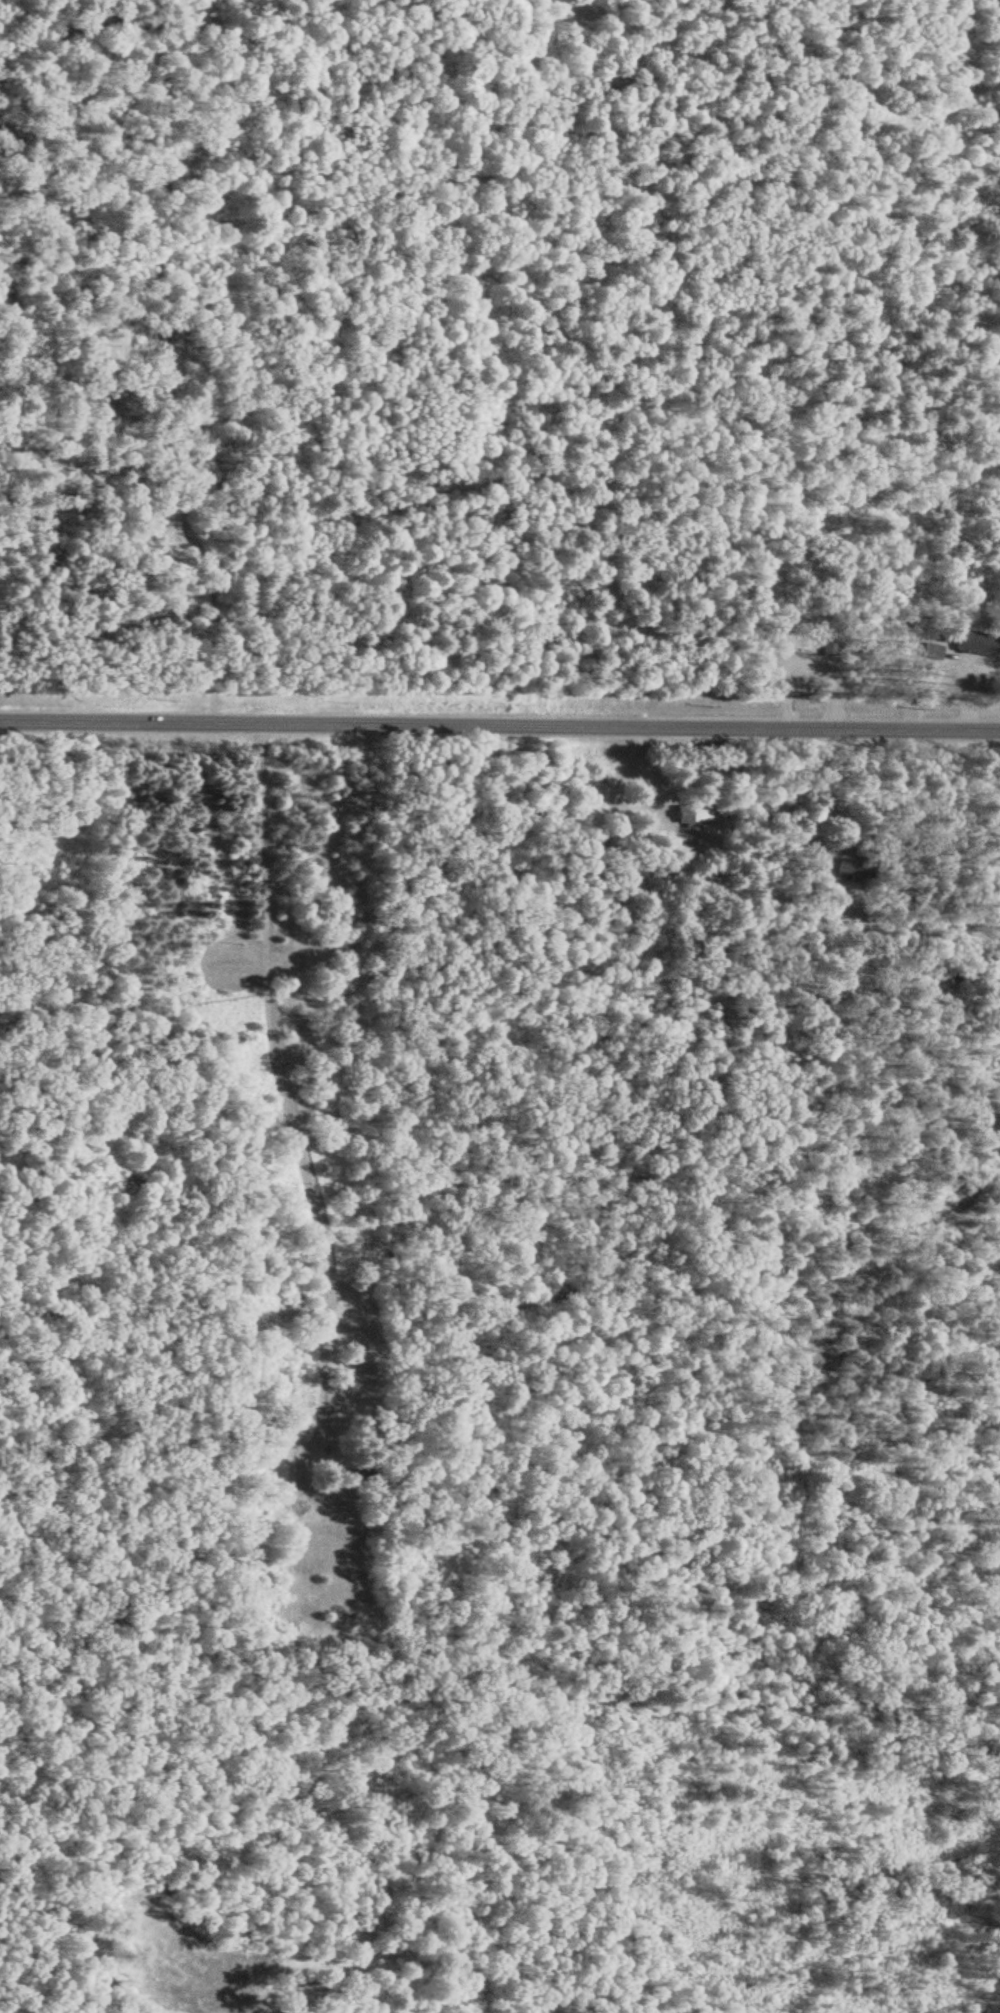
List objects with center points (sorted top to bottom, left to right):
building: (973, 638)
road: (500, 724)
building: (693, 811)
building: (805, 840)
building: (851, 866)
building: (365, 1469)

